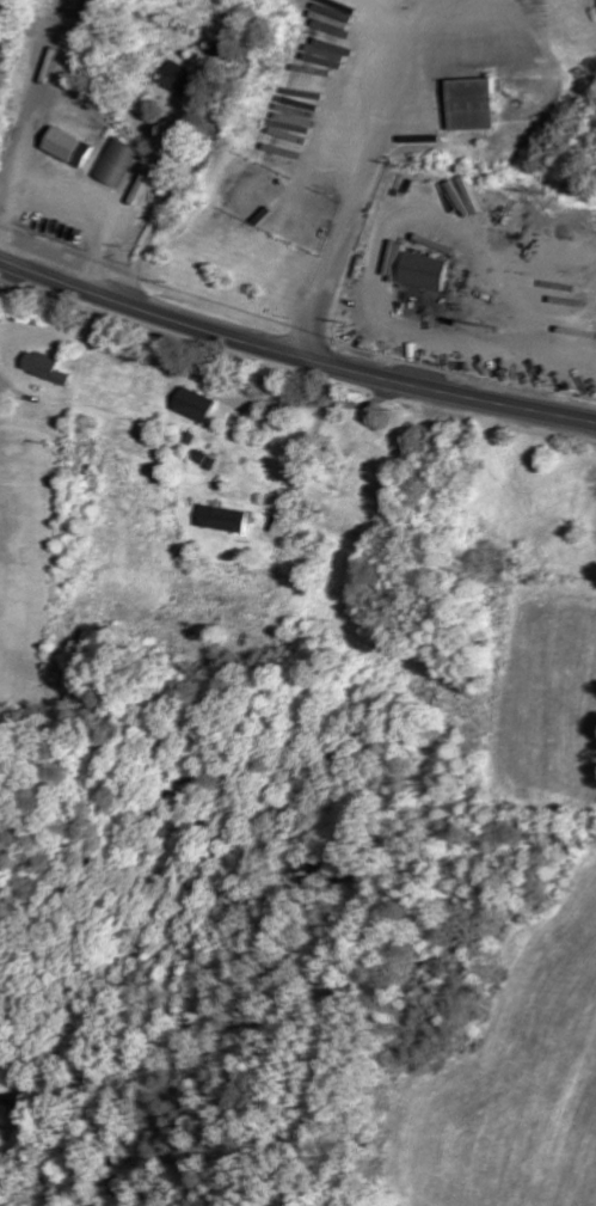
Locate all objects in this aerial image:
building: (75, 0)
building: (174, 76)
building: (469, 104)
building: (67, 147)
building: (116, 164)
building: (447, 194)
building: (416, 268)
road: (293, 355)
building: (44, 367)
building: (192, 404)
building: (220, 519)
road: (26, 1143)

